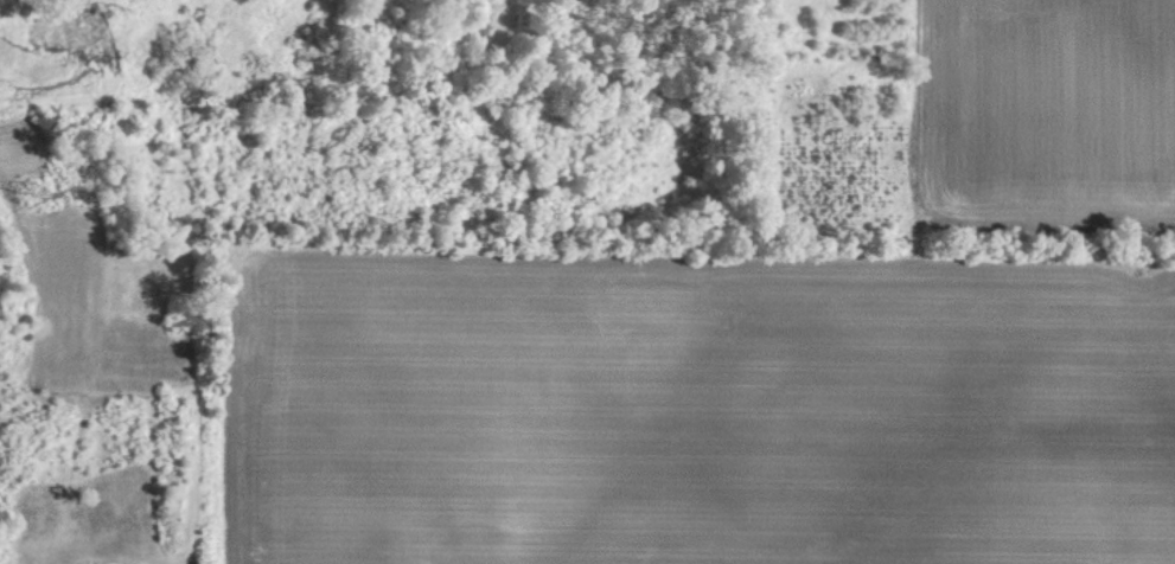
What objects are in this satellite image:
power tower: (25, 200)

